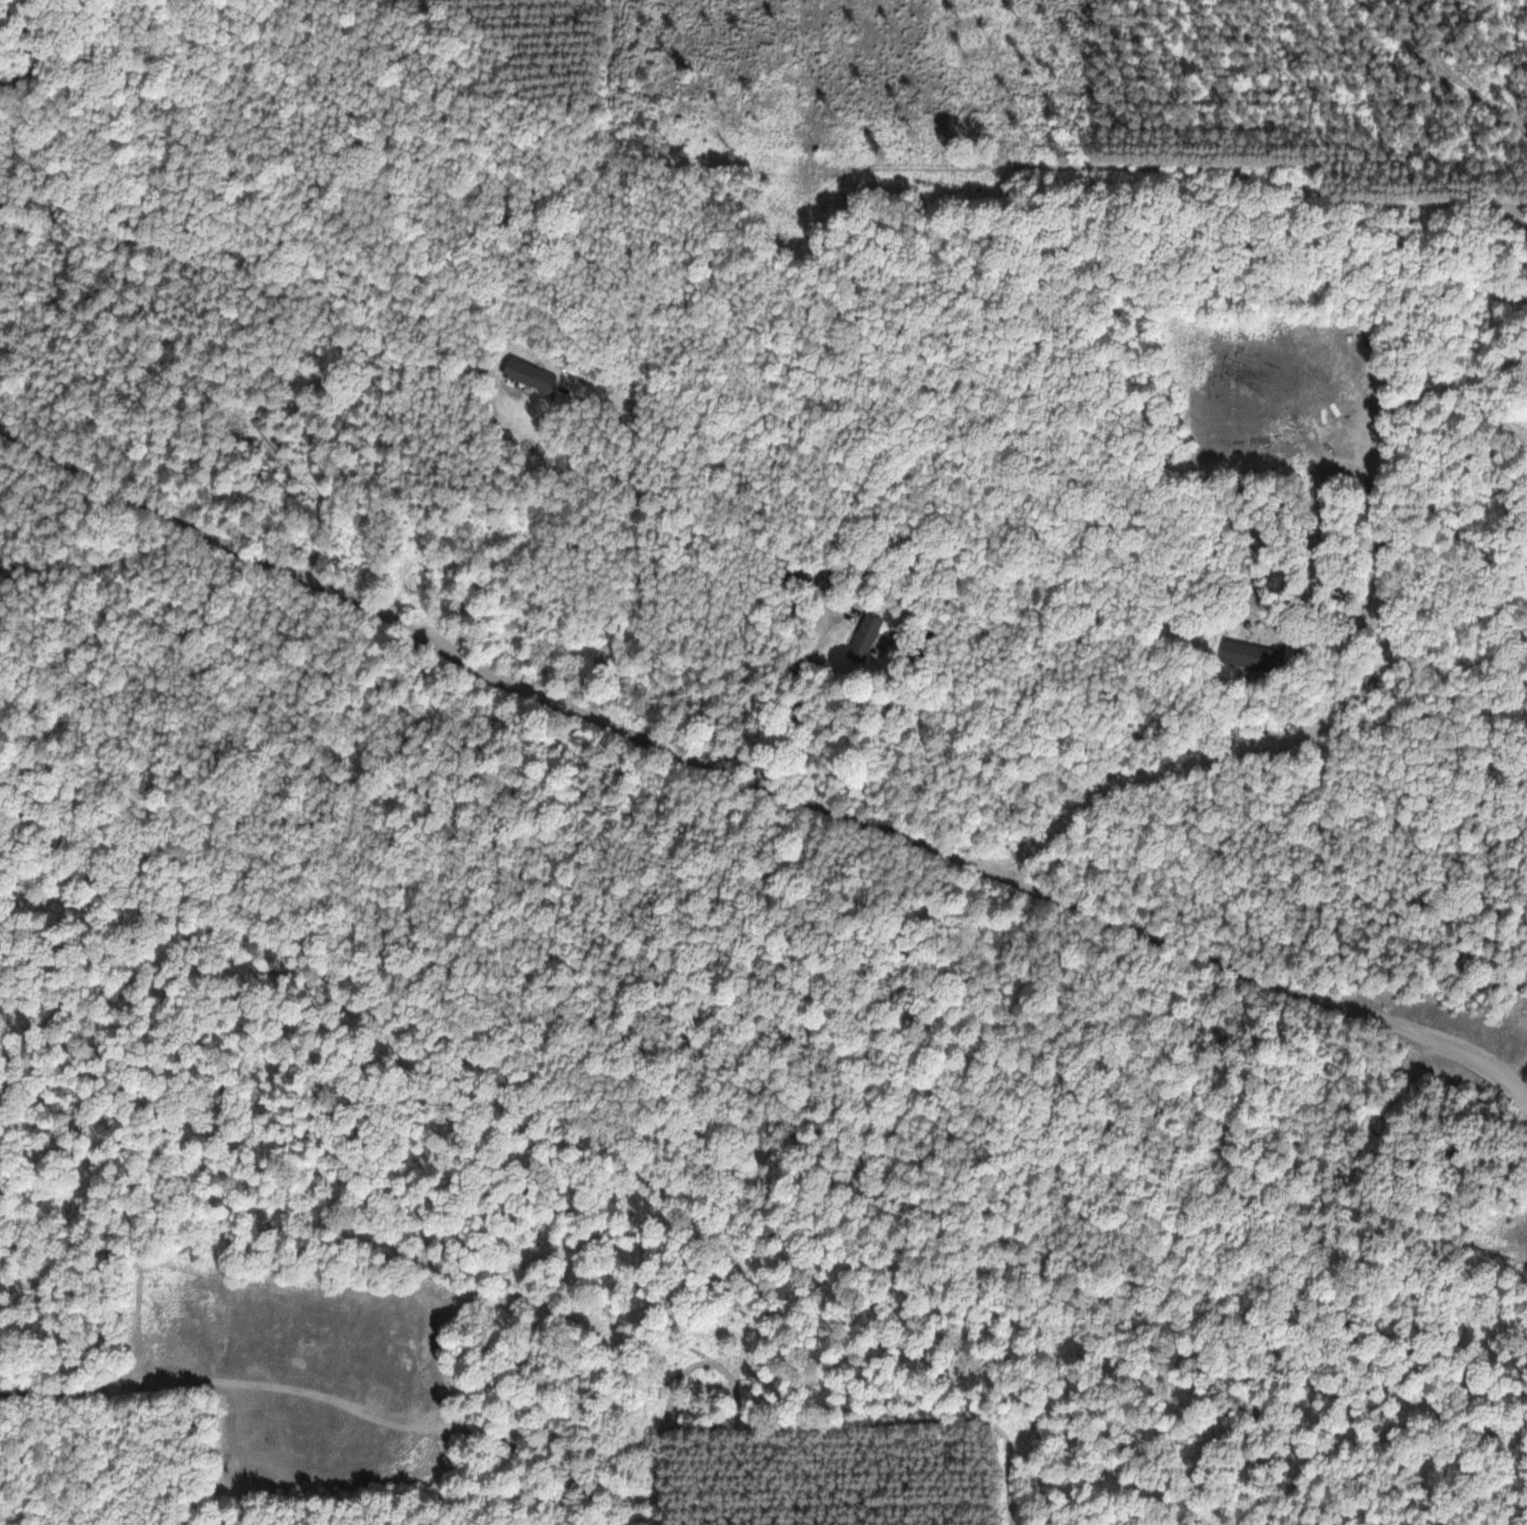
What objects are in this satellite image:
building: (526, 374)
road: (1369, 476)
building: (864, 637)
building: (1248, 654)
road: (755, 786)
road: (1517, 1070)

